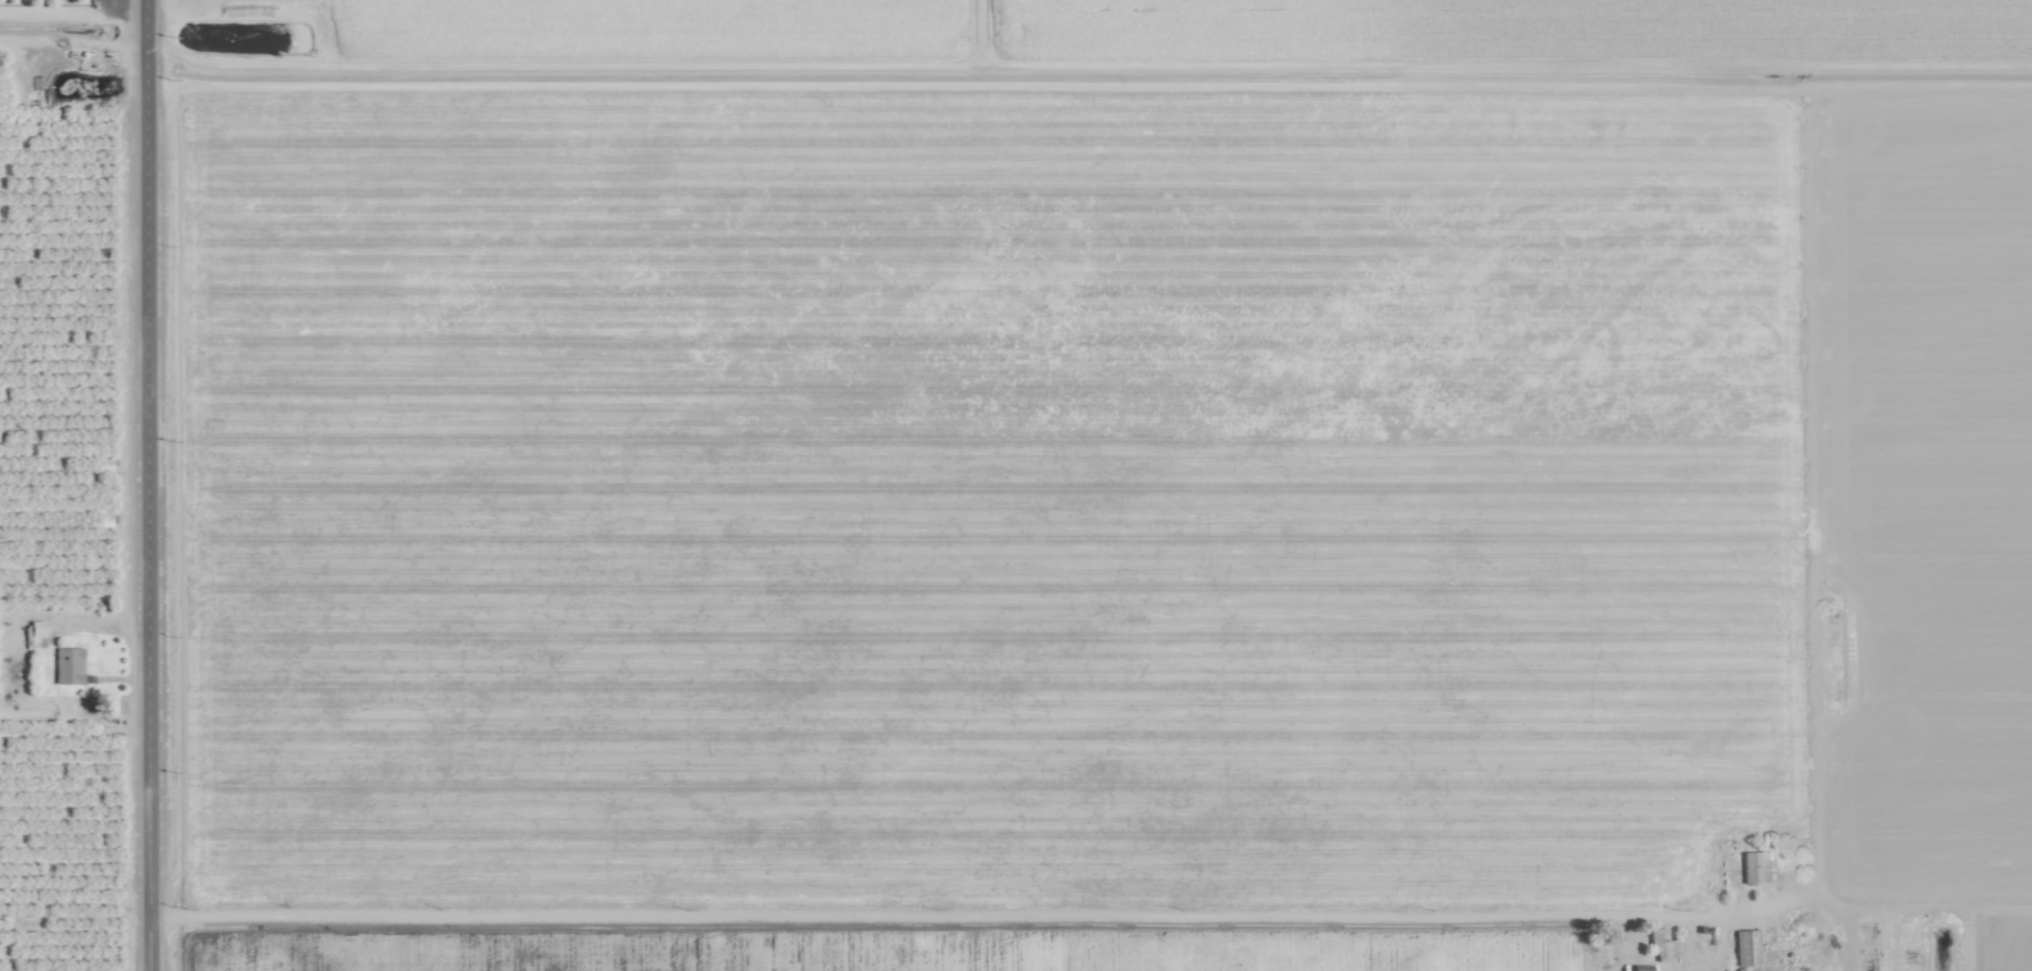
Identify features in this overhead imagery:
road: (146, 485)
crop: (1016, 485)
building: (34, 628)
building: (67, 665)
building: (1756, 867)
road: (937, 915)
building: (1658, 944)

